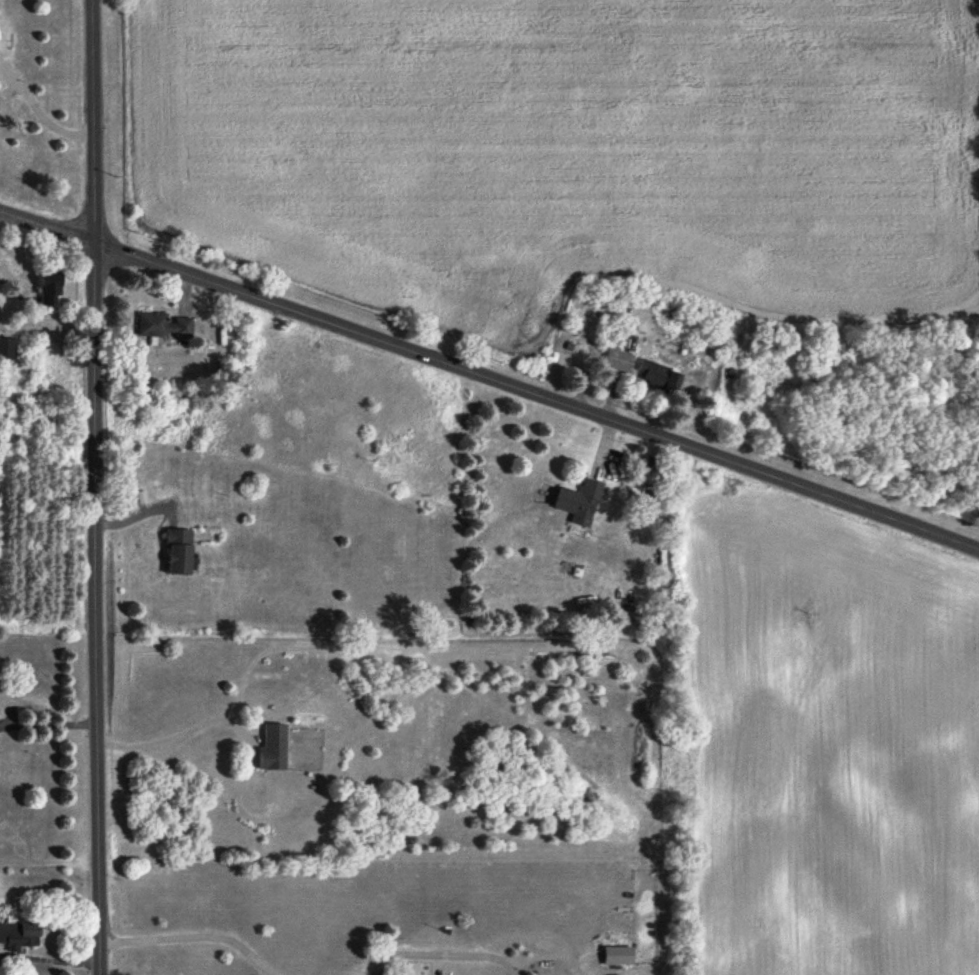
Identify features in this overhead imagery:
road: (37, 109)
building: (52, 290)
building: (164, 326)
building: (7, 349)
building: (617, 360)
building: (656, 376)
road: (491, 377)
road: (95, 487)
building: (578, 502)
building: (182, 553)
building: (422, 665)
road: (49, 722)
road: (231, 724)
building: (271, 748)
road: (195, 931)
building: (22, 935)

